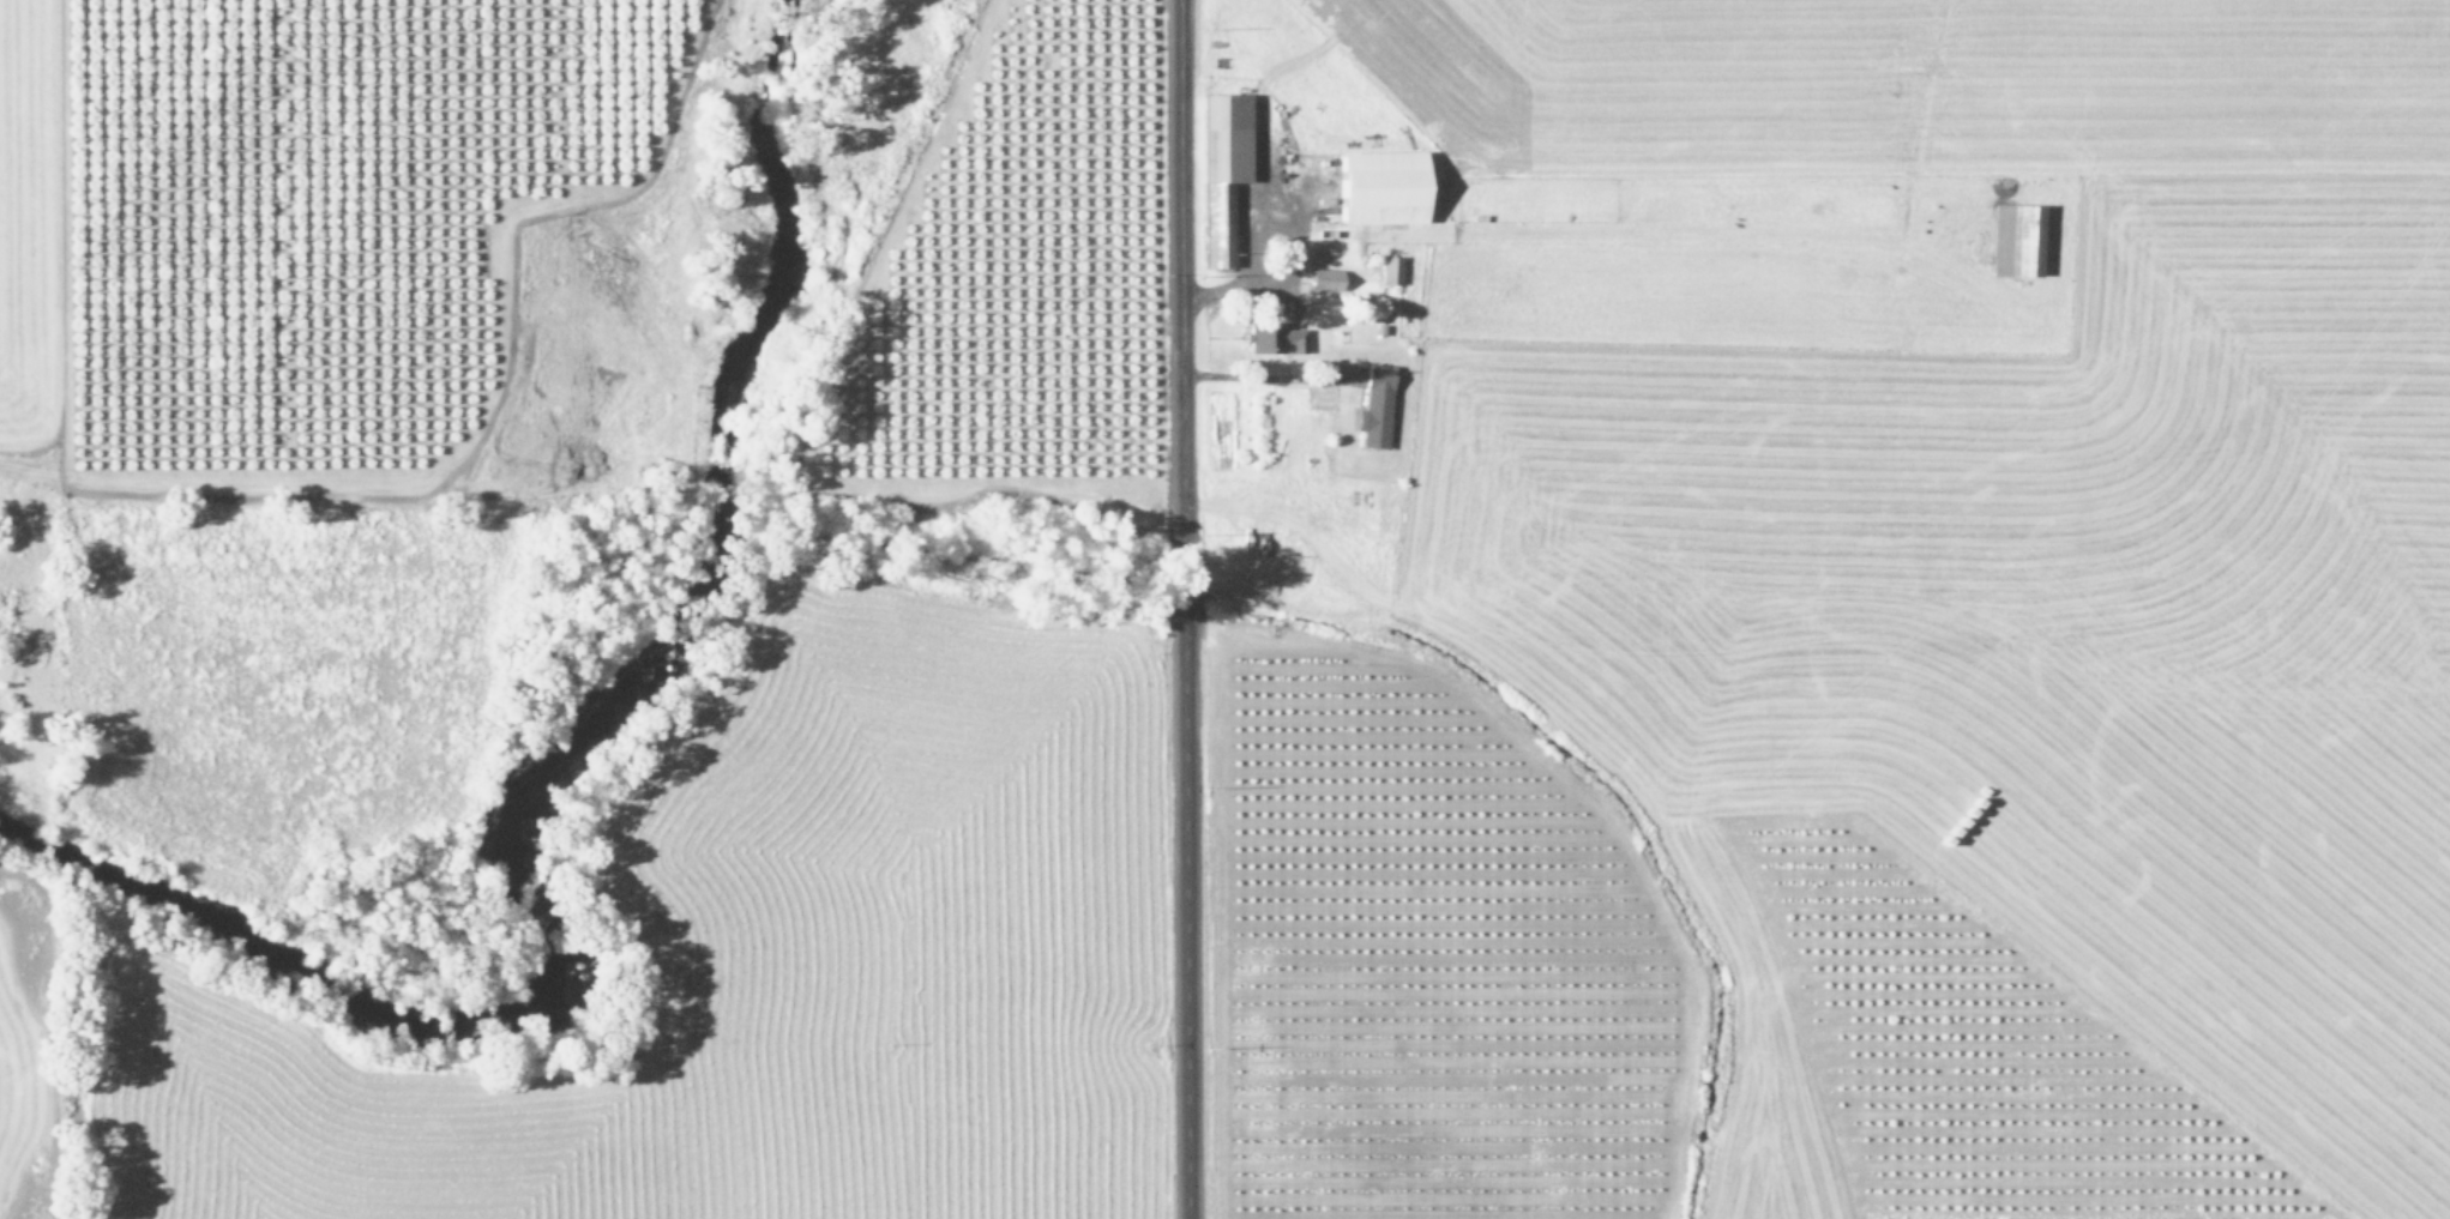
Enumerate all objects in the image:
building: (1222, 170)
building: (1380, 187)
building: (2017, 240)
building: (1390, 271)
building: (1324, 279)
building: (1272, 338)
building: (1374, 408)
road: (1180, 609)
crop: (1559, 656)

